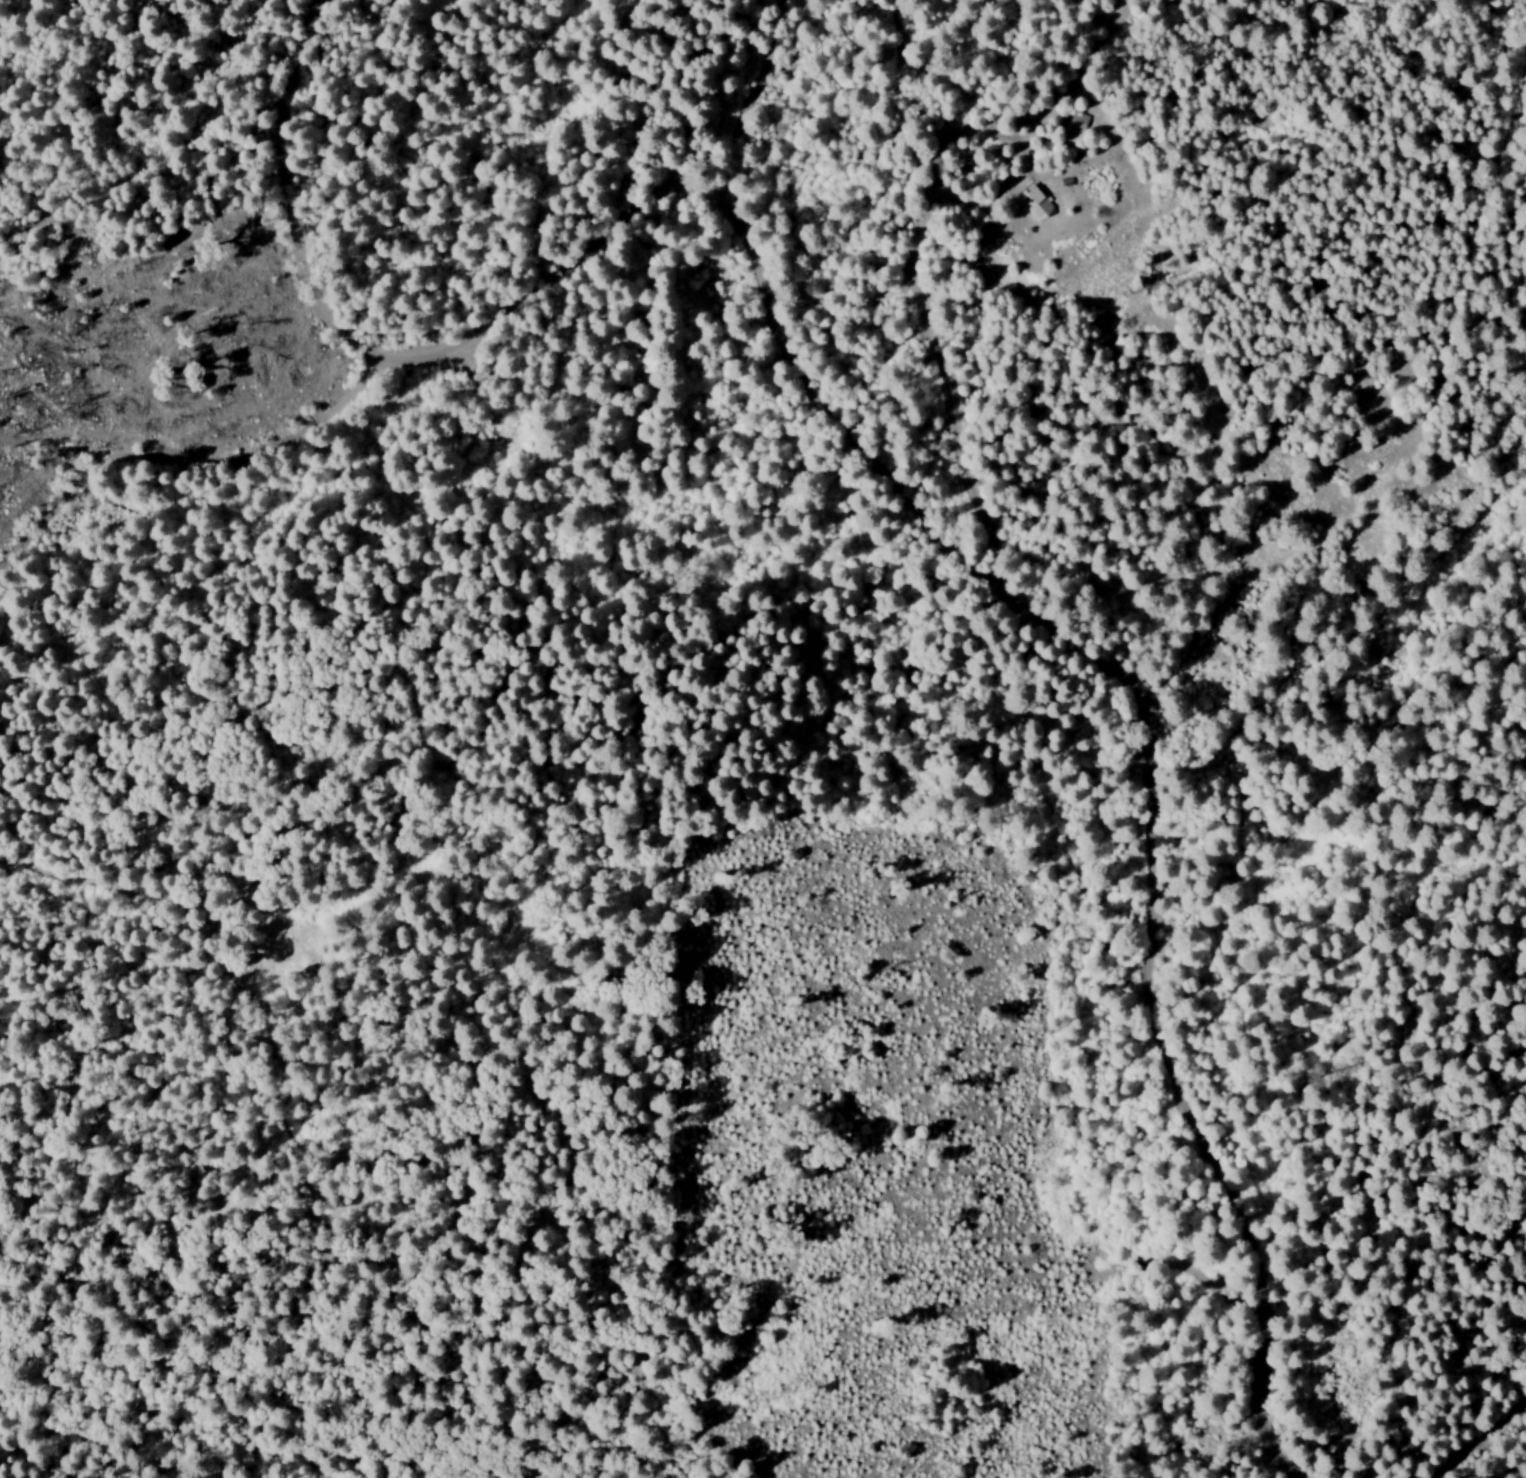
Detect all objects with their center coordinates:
road: (730, 119)
building: (1077, 121)
building: (1033, 204)
road: (862, 494)
road: (1308, 713)
road: (1485, 1442)

